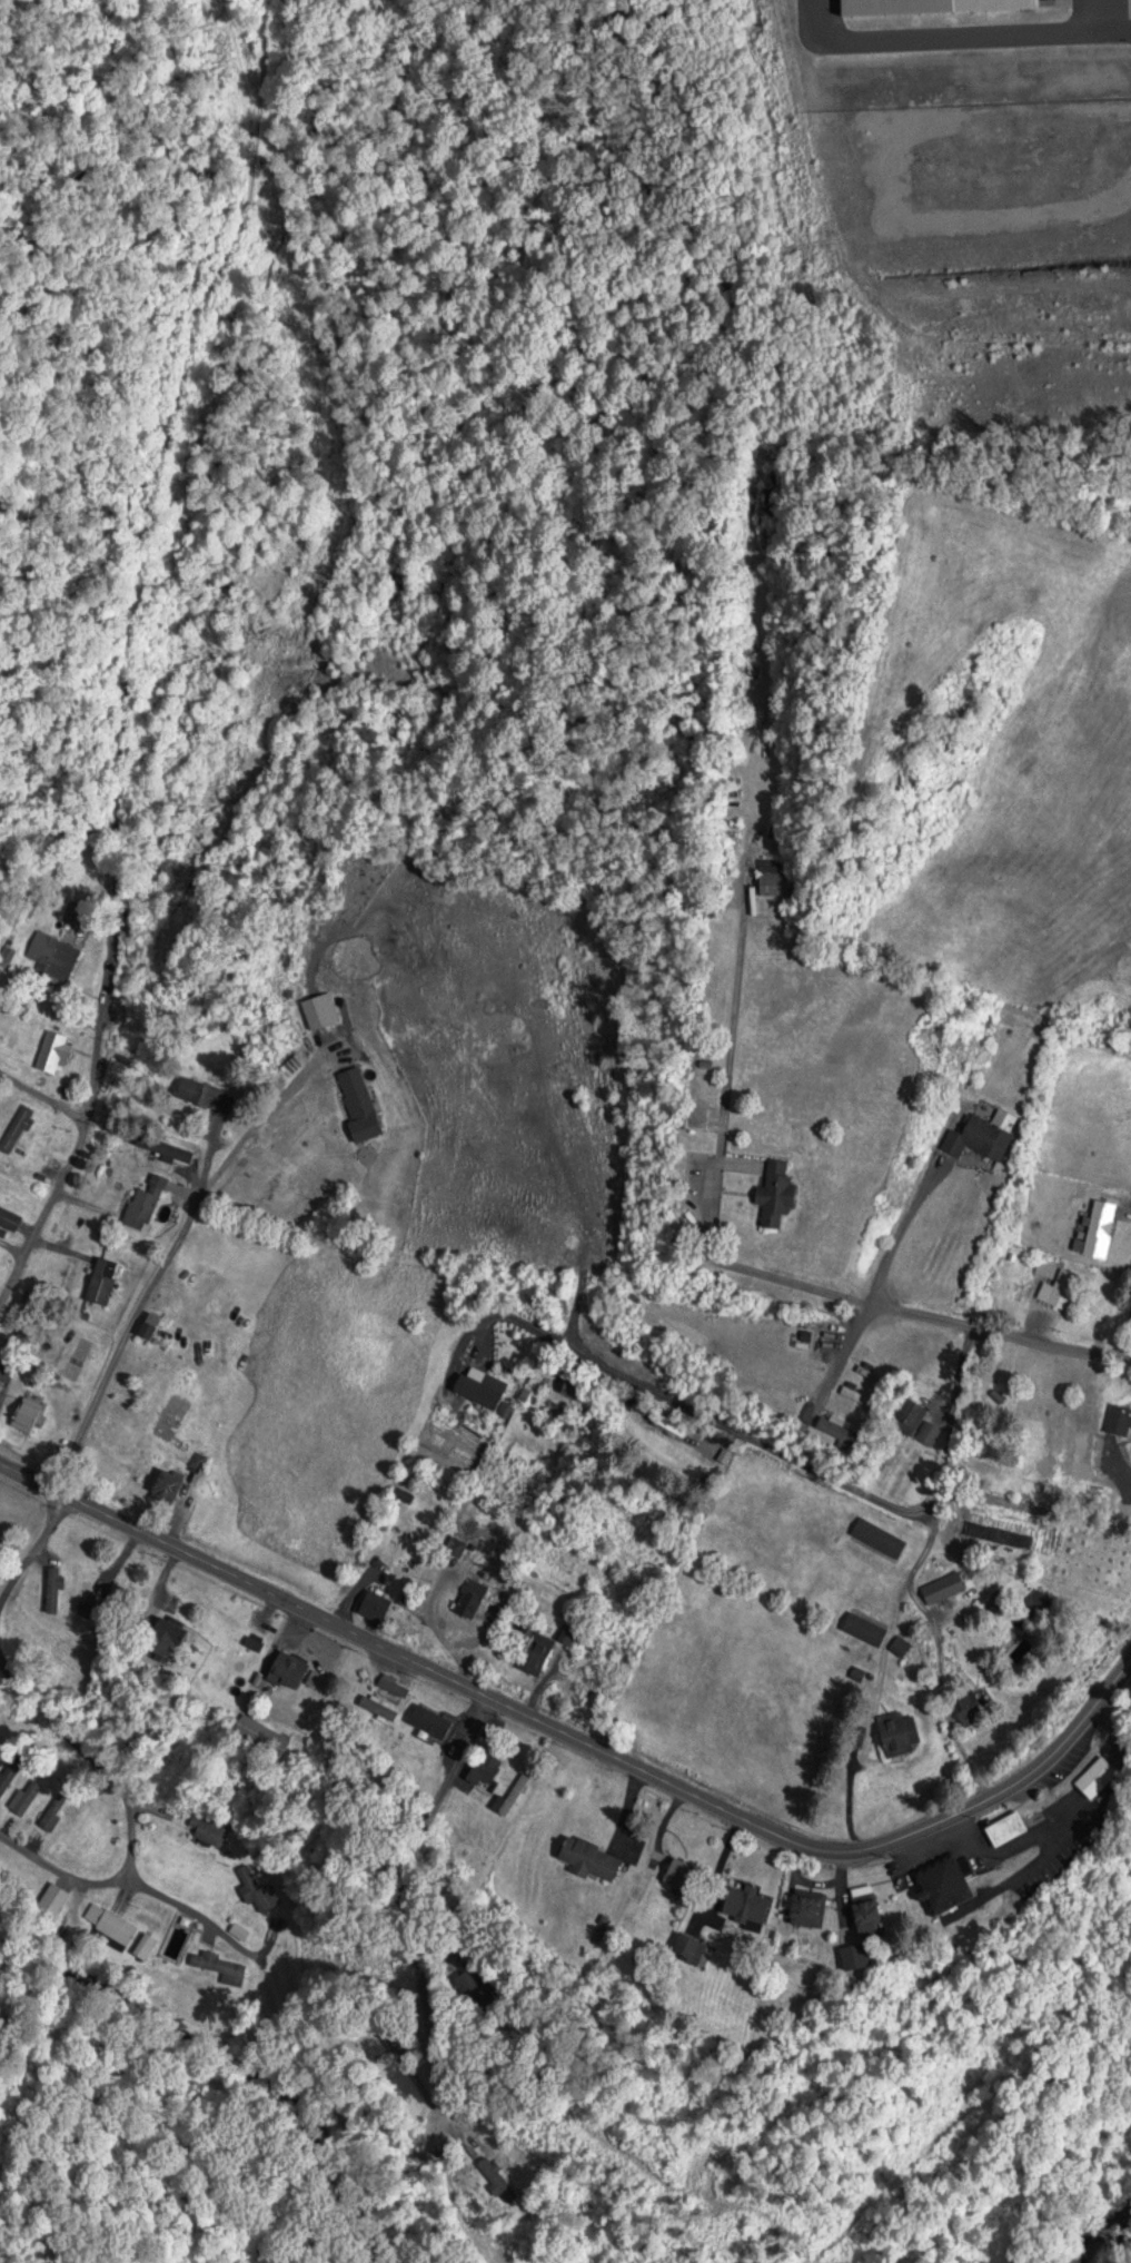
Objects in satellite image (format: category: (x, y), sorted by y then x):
building: (929, 7)
building: (776, 876)
building: (82, 916)
building: (56, 959)
building: (321, 1011)
building: (1130, 1019)
building: (1100, 1027)
building: (53, 1051)
building: (200, 1093)
building: (360, 1104)
building: (17, 1129)
road: (82, 1134)
building: (980, 1138)
building: (166, 1148)
building: (777, 1194)
building: (145, 1204)
building: (9, 1219)
building: (1099, 1229)
building: (0, 1251)
road: (162, 1265)
road: (760, 1273)
building: (102, 1282)
building: (1064, 1289)
road: (867, 1305)
building: (150, 1326)
building: (7, 1367)
building: (871, 1373)
building: (482, 1389)
building: (574, 1392)
building: (859, 1395)
building: (28, 1411)
building: (910, 1415)
building: (1120, 1419)
building: (668, 1423)
building: (840, 1429)
road: (784, 1454)
building: (168, 1484)
building: (879, 1536)
road: (32, 1548)
building: (944, 1585)
building: (53, 1587)
building: (473, 1598)
building: (374, 1604)
building: (1038, 1604)
building: (95, 1613)
building: (865, 1628)
building: (566, 1633)
building: (166, 1636)
building: (901, 1646)
building: (537, 1653)
building: (288, 1670)
road: (882, 1673)
building: (317, 1679)
building: (394, 1687)
road: (41, 1706)
building: (971, 1708)
building: (430, 1723)
building: (900, 1731)
building: (261, 1735)
road: (582, 1740)
building: (485, 1770)
building: (8, 1772)
building: (1098, 1777)
building: (514, 1795)
building: (27, 1797)
building: (52, 1812)
road: (421, 1828)
building: (1008, 1828)
building: (212, 1832)
building: (591, 1857)
building: (679, 1872)
road: (126, 1875)
building: (944, 1885)
building: (257, 1888)
building: (746, 1905)
building: (808, 1908)
building: (867, 1909)
road: (191, 1911)
building: (109, 1927)
building: (177, 1939)
building: (143, 1944)
building: (220, 1967)
building: (503, 2188)

